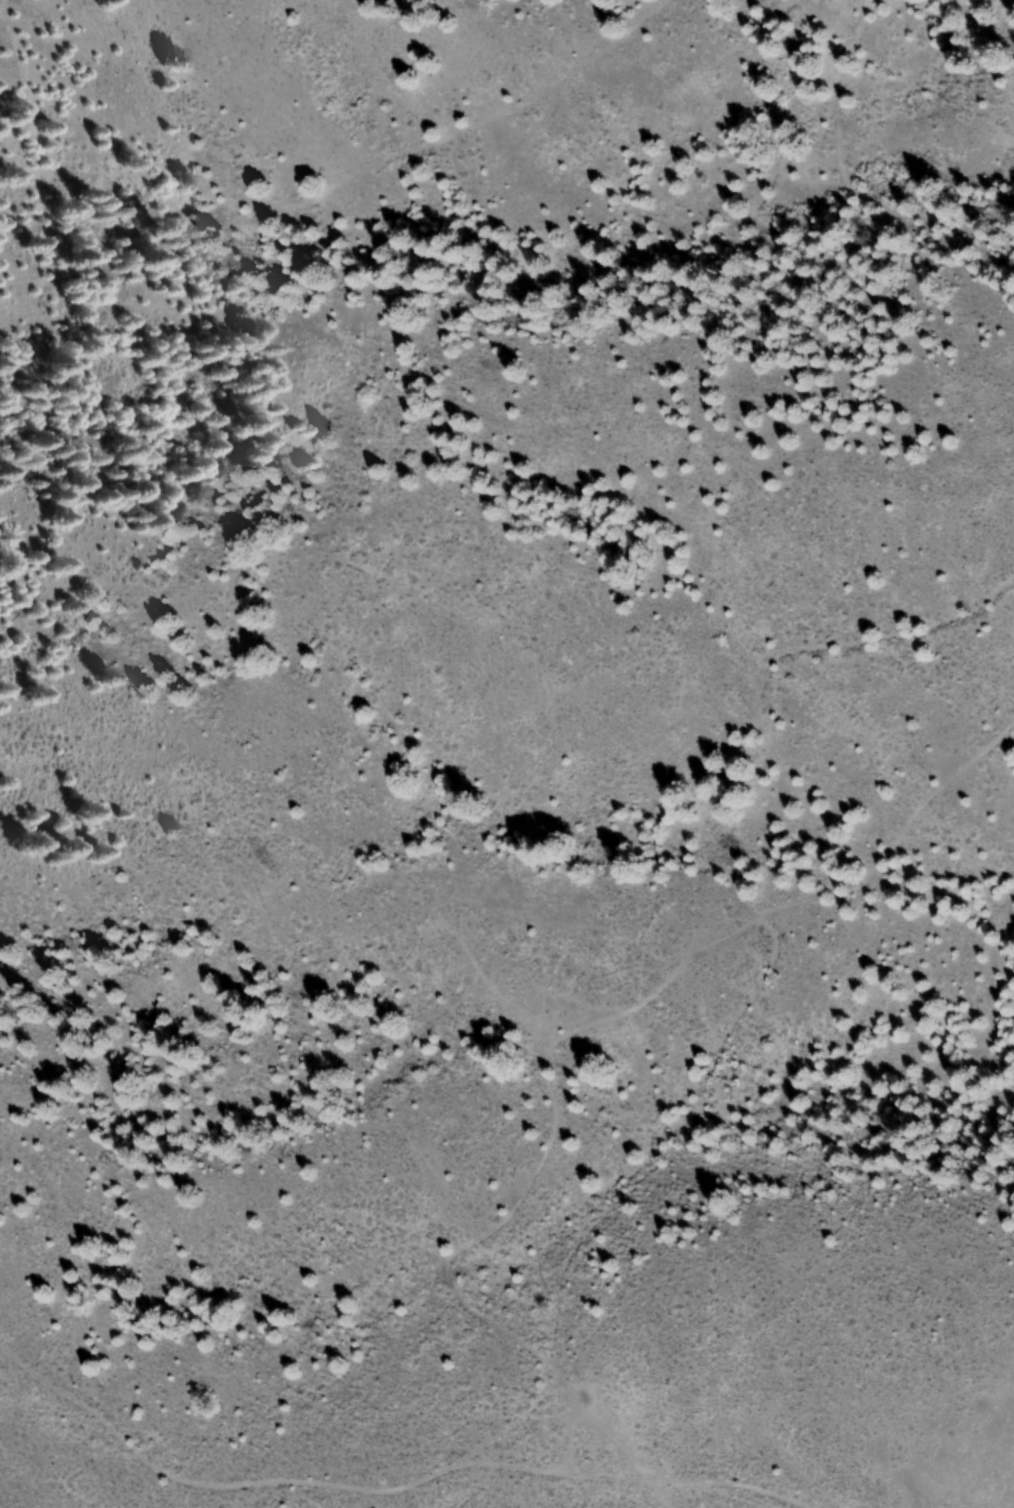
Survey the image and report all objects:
road: (345, 1506)

